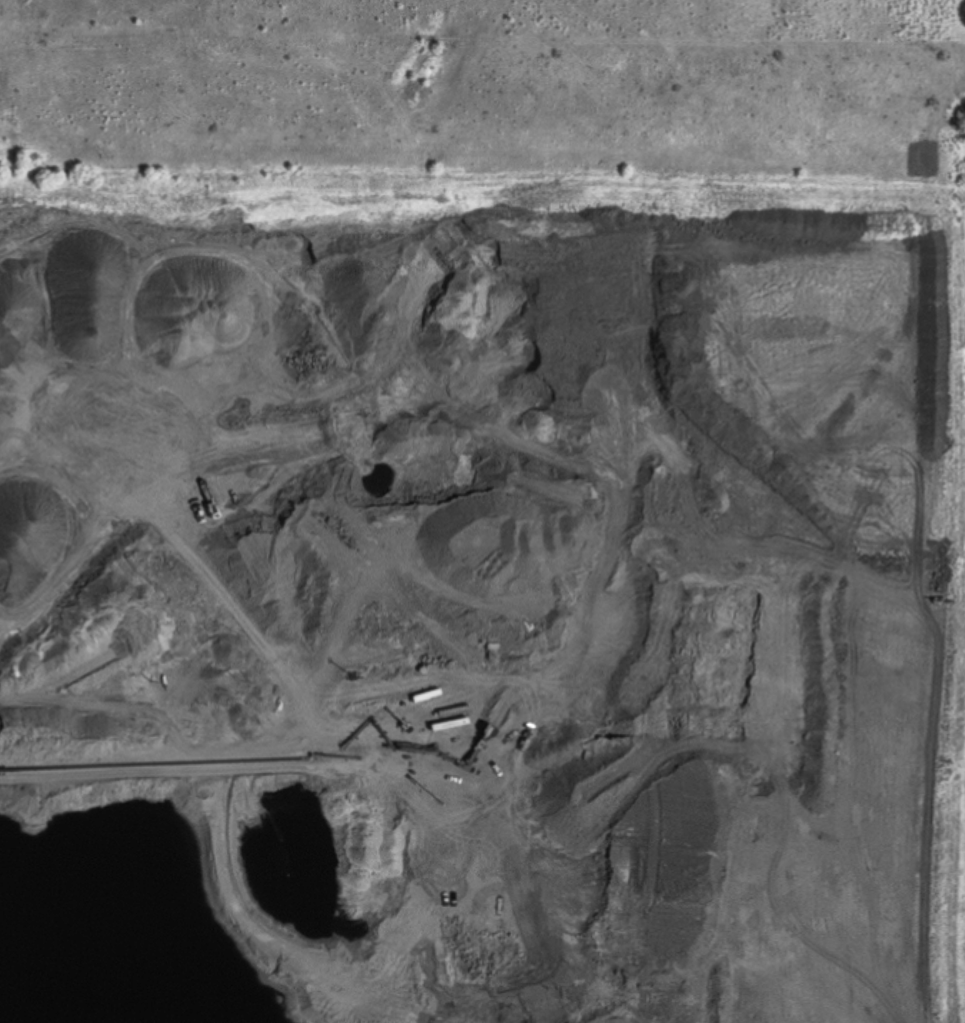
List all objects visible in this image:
crop: (962, 366)
quarry: (479, 597)

